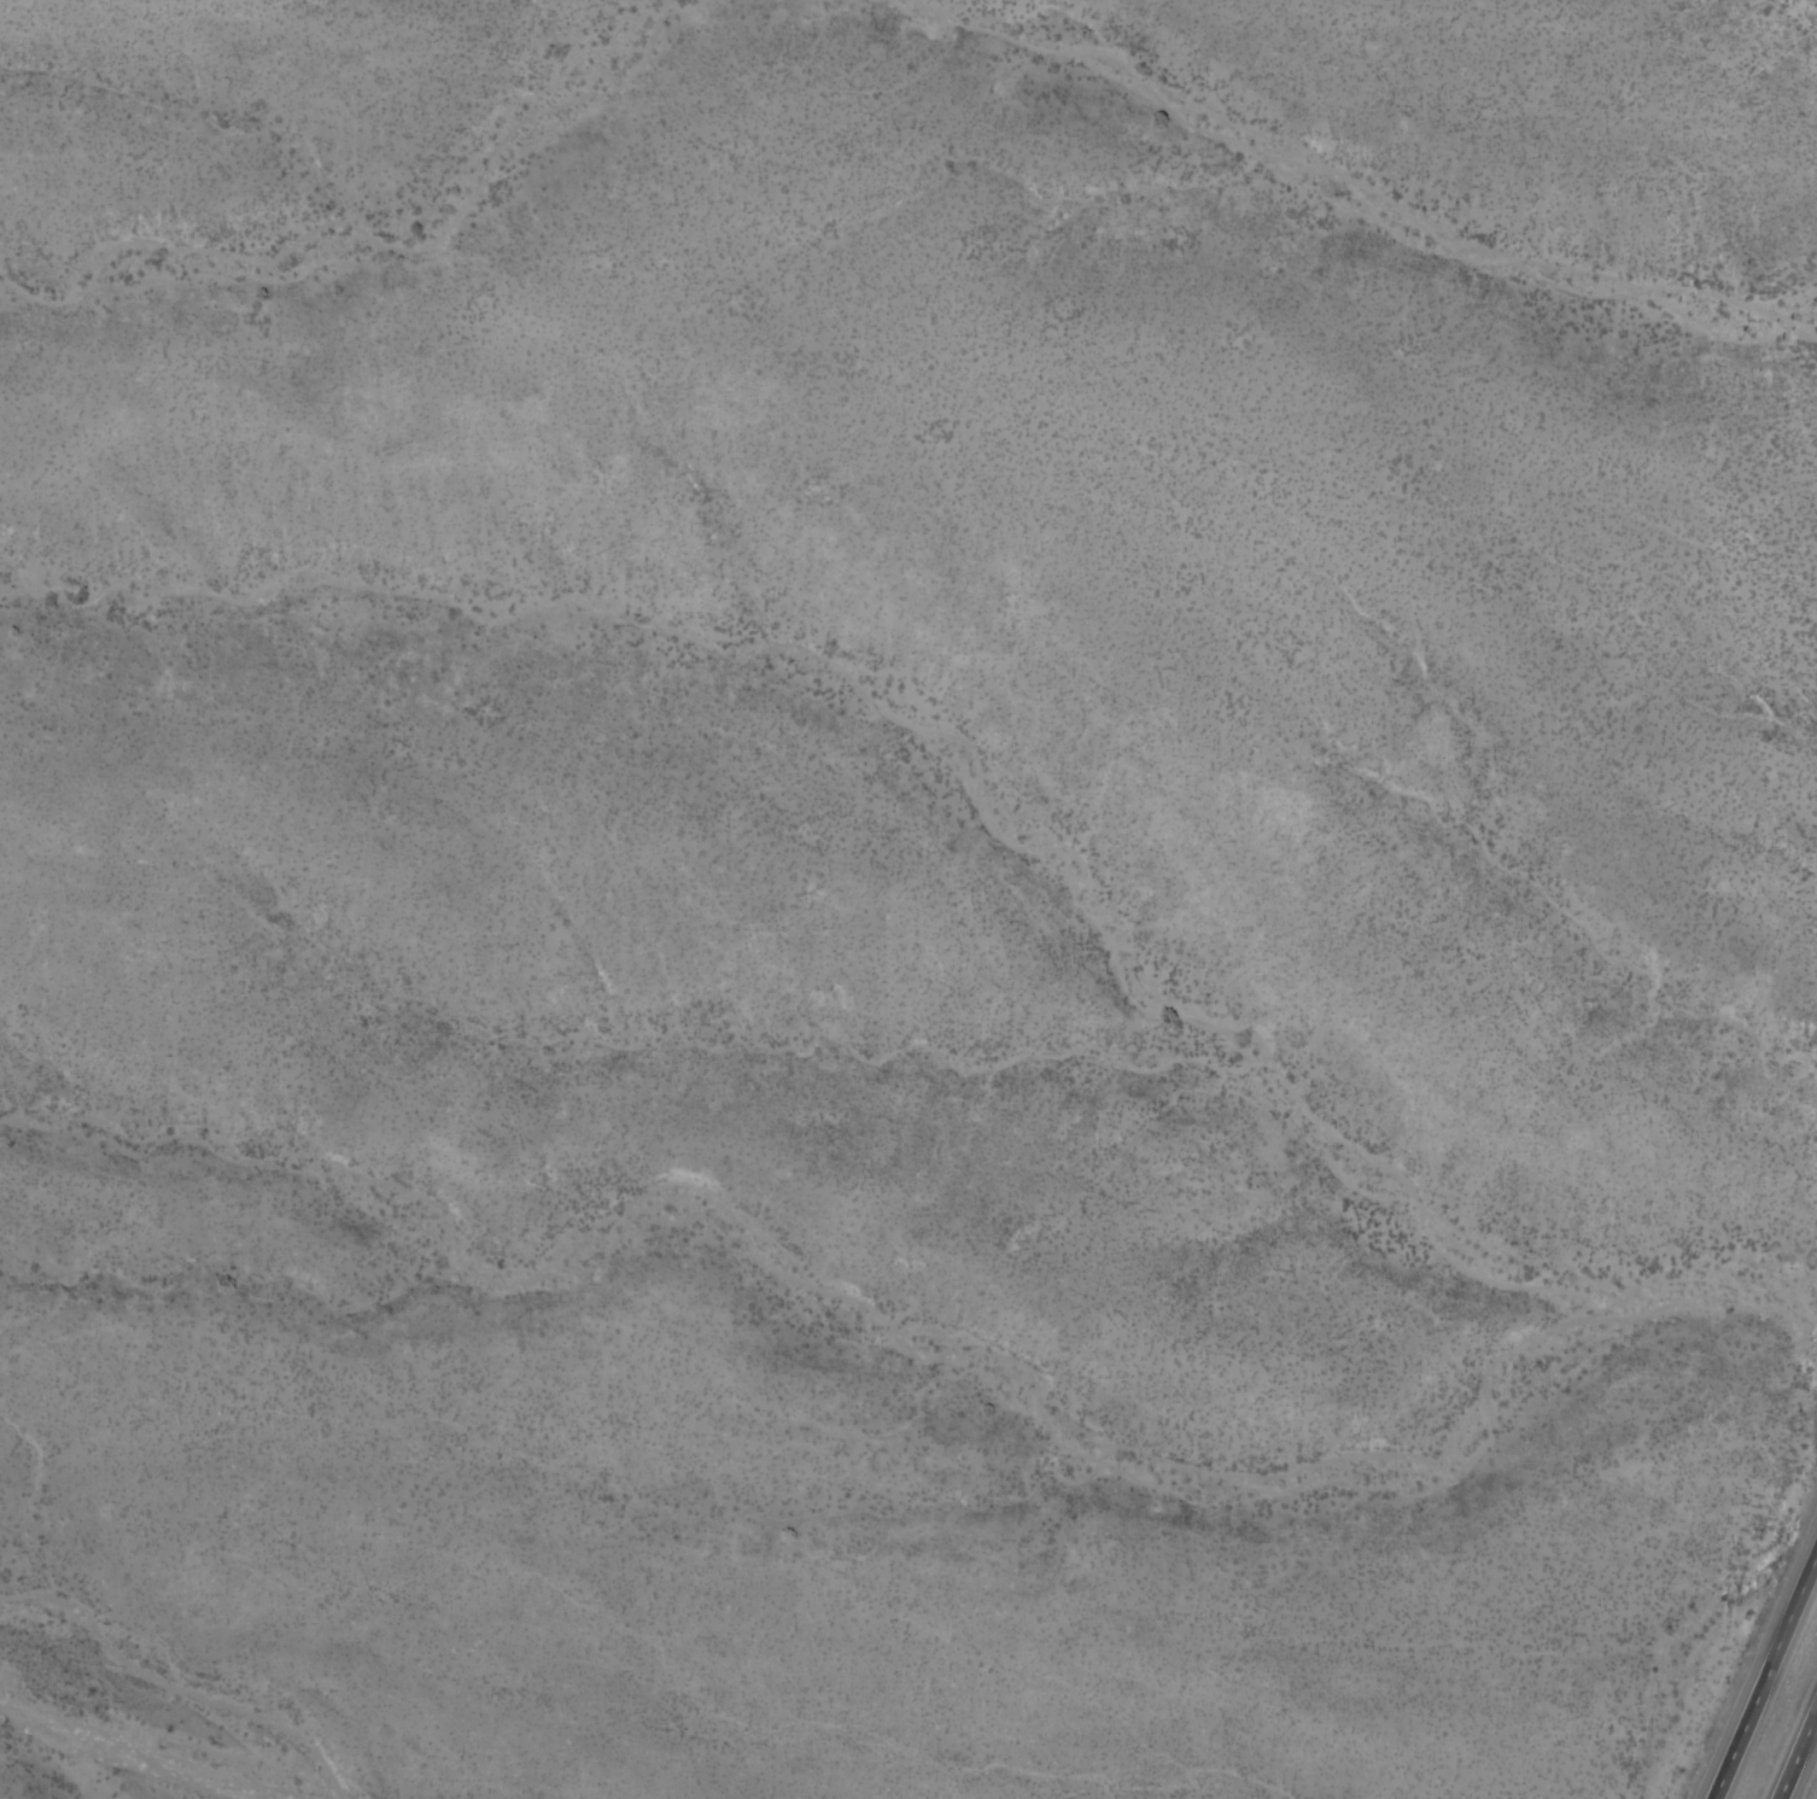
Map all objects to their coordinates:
road: (1764, 1675)
road: (1796, 1752)

